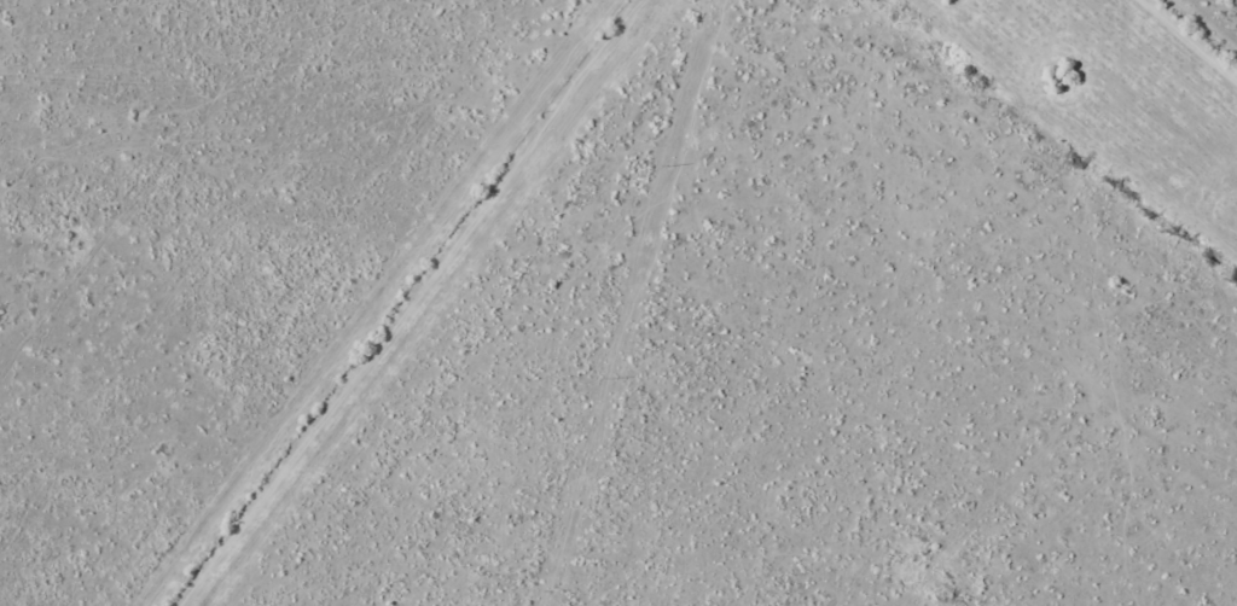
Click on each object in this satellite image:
road: (1190, 37)

